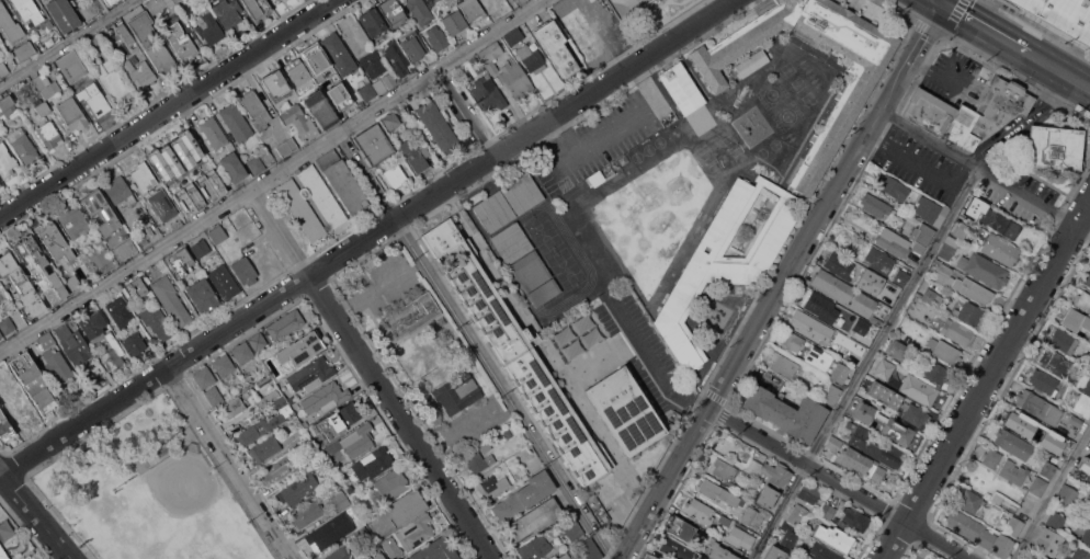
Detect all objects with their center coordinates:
building: (273, 0)
building: (429, 0)
building: (110, 1)
building: (178, 1)
building: (508, 1)
building: (520, 2)
building: (161, 5)
building: (257, 8)
building: (88, 9)
building: (472, 9)
building: (29, 10)
building: (420, 11)
building: (436, 11)
building: (228, 13)
building: (394, 13)
building: (63, 14)
building: (1059, 18)
building: (372, 22)
building: (454, 22)
building: (10, 24)
building: (49, 24)
road: (984, 26)
building: (209, 28)
building: (125, 33)
building: (513, 36)
building: (438, 38)
building: (93, 42)
building: (150, 42)
building: (181, 42)
road: (68, 43)
building: (412, 44)
building: (555, 47)
building: (25, 49)
building: (339, 54)
building: (490, 55)
building: (396, 57)
building: (531, 58)
building: (316, 59)
building: (751, 62)
building: (71, 67)
building: (296, 70)
road: (1059, 70)
building: (138, 72)
building: (2, 73)
building: (368, 76)
building: (514, 78)
building: (389, 80)
building: (112, 83)
building: (273, 83)
building: (46, 85)
building: (681, 88)
building: (488, 93)
building: (339, 96)
building: (93, 101)
building: (7, 105)
building: (43, 109)
road: (168, 109)
building: (320, 109)
building: (256, 110)
road: (565, 110)
road: (463, 112)
building: (968, 112)
building: (72, 114)
building: (0, 117)
building: (391, 121)
road: (1019, 121)
building: (236, 122)
building: (297, 122)
road: (617, 125)
building: (436, 127)
building: (214, 132)
building: (49, 134)
building: (828, 139)
building: (374, 144)
building: (23, 146)
building: (287, 147)
building: (1055, 147)
building: (424, 150)
building: (266, 156)
building: (413, 157)
building: (7, 161)
building: (181, 162)
building: (257, 164)
building: (232, 167)
road: (985, 171)
building: (144, 175)
road: (271, 175)
building: (394, 175)
road: (364, 176)
building: (597, 178)
building: (342, 182)
building: (0, 185)
building: (893, 186)
building: (120, 190)
building: (571, 195)
building: (206, 196)
building: (322, 196)
building: (189, 201)
building: (508, 202)
building: (161, 205)
building: (875, 206)
building: (973, 206)
building: (929, 208)
building: (300, 209)
building: (100, 210)
building: (175, 220)
building: (75, 221)
building: (1000, 223)
building: (961, 231)
building: (218, 235)
building: (921, 237)
building: (144, 240)
building: (55, 241)
building: (99, 241)
building: (511, 244)
building: (895, 244)
road: (351, 247)
building: (947, 248)
building: (124, 249)
building: (201, 249)
building: (1000, 250)
building: (401, 254)
building: (878, 260)
building: (101, 261)
building: (181, 262)
building: (725, 262)
building: (840, 264)
building: (942, 266)
building: (984, 269)
building: (41, 271)
building: (245, 271)
building: (530, 272)
building: (901, 276)
building: (866, 278)
building: (1087, 278)
building: (224, 282)
road: (781, 282)
building: (73, 283)
building: (20, 286)
building: (965, 286)
building: (134, 289)
building: (843, 292)
building: (202, 294)
building: (544, 294)
building: (931, 296)
building: (171, 300)
building: (1082, 300)
building: (821, 306)
building: (968, 312)
building: (122, 315)
building: (413, 315)
building: (1075, 319)
building: (876, 320)
building: (156, 321)
building: (859, 323)
building: (907, 323)
building: (7, 324)
building: (285, 324)
building: (93, 326)
building: (810, 326)
building: (957, 331)
building: (1, 334)
building: (45, 340)
building: (792, 340)
building: (258, 341)
building: (1063, 342)
building: (850, 343)
building: (135, 344)
building: (73, 345)
building: (299, 347)
building: (898, 349)
building: (944, 351)
building: (242, 352)
building: (113, 353)
building: (518, 355)
building: (819, 357)
road: (651, 358)
building: (1055, 361)
road: (864, 363)
building: (57, 364)
building: (223, 365)
building: (785, 367)
building: (884, 368)
building: (935, 372)
road: (373, 373)
building: (840, 373)
road: (154, 375)
building: (310, 375)
building: (203, 377)
road: (986, 378)
building: (34, 381)
building: (1044, 381)
building: (1085, 384)
building: (454, 386)
road: (503, 389)
building: (919, 389)
building: (885, 393)
building: (831, 395)
building: (214, 396)
building: (325, 397)
building: (266, 398)
building: (292, 399)
building: (463, 399)
building: (280, 401)
building: (1082, 406)
building: (232, 407)
building: (1038, 407)
building: (19, 408)
building: (859, 409)
building: (624, 410)
building: (785, 412)
building: (292, 413)
building: (915, 413)
building: (339, 421)
building: (1076, 421)
building: (1031, 426)
building: (5, 427)
building: (260, 427)
building: (897, 432)
building: (503, 433)
road: (473, 434)
building: (353, 442)
building: (1012, 443)
building: (833, 444)
building: (875, 447)
building: (264, 448)
building: (1060, 449)
building: (1089, 454)
building: (991, 457)
building: (291, 458)
building: (479, 460)
building: (858, 461)
building: (373, 463)
road: (230, 464)
building: (1085, 468)
building: (724, 469)
building: (1048, 469)
building: (767, 471)
building: (1013, 471)
building: (275, 472)
building: (966, 479)
building: (391, 483)
road: (839, 483)
building: (1037, 486)
building: (492, 487)
building: (881, 487)
building: (298, 489)
building: (349, 490)
building: (719, 492)
park: (155, 493)
building: (808, 493)
road: (1052, 494)
building: (524, 495)
building: (1068, 495)
building: (1087, 495)
building: (765, 497)
building: (339, 499)
building: (970, 501)
building: (407, 506)
building: (699, 510)
building: (827, 510)
building: (351, 512)
building: (1089, 513)
building: (307, 514)
road: (36, 515)
building: (182, 515)
building: (754, 516)
building: (797, 516)
building: (535, 518)
building: (855, 518)
building: (724, 520)
building: (1054, 520)
building: (842, 523)
building: (1014, 526)
building: (571, 527)
building: (683, 529)
building: (5, 531)
building: (416, 532)
building: (326, 534)
building: (979, 534)
building: (787, 535)
building: (1086, 536)
building: (833, 537)
building: (739, 538)
building: (1048, 541)
building: (391, 547)
building: (535, 548)
building: (589, 549)
building: (678, 549)
building: (435, 550)
building: (716, 550)
building: (822, 551)
building: (774, 552)
building: (3, 554)
building: (340, 554)
building: (1078, 554)
building: (377, 556)
road: (67, 557)
building: (554, 557)
building: (563, 557)
building: (934, 557)
building: (651, 558)
building: (656, 558)
building: (927, 558)
building: (1042, 558)
building: (1043, 558)

